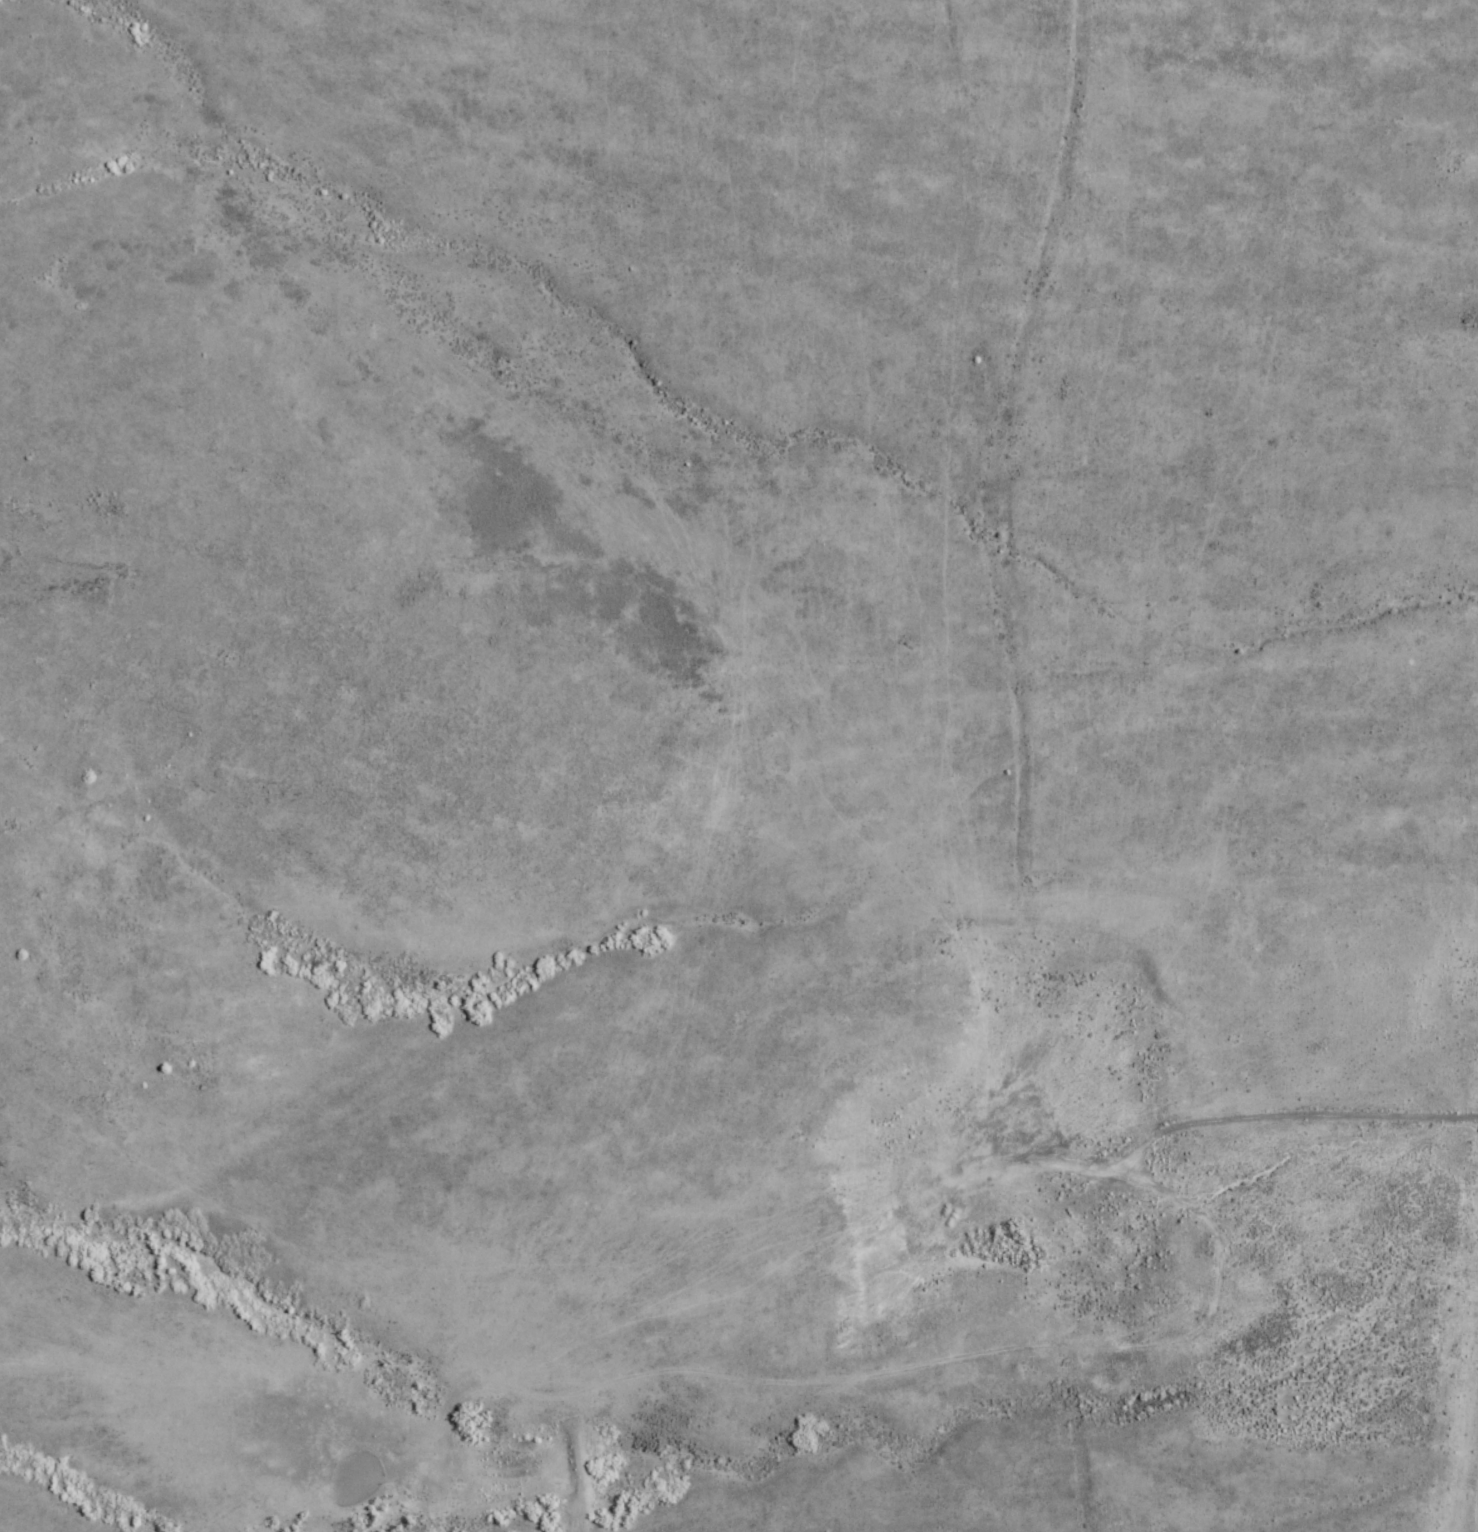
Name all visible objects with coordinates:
road: (1318, 1264)

